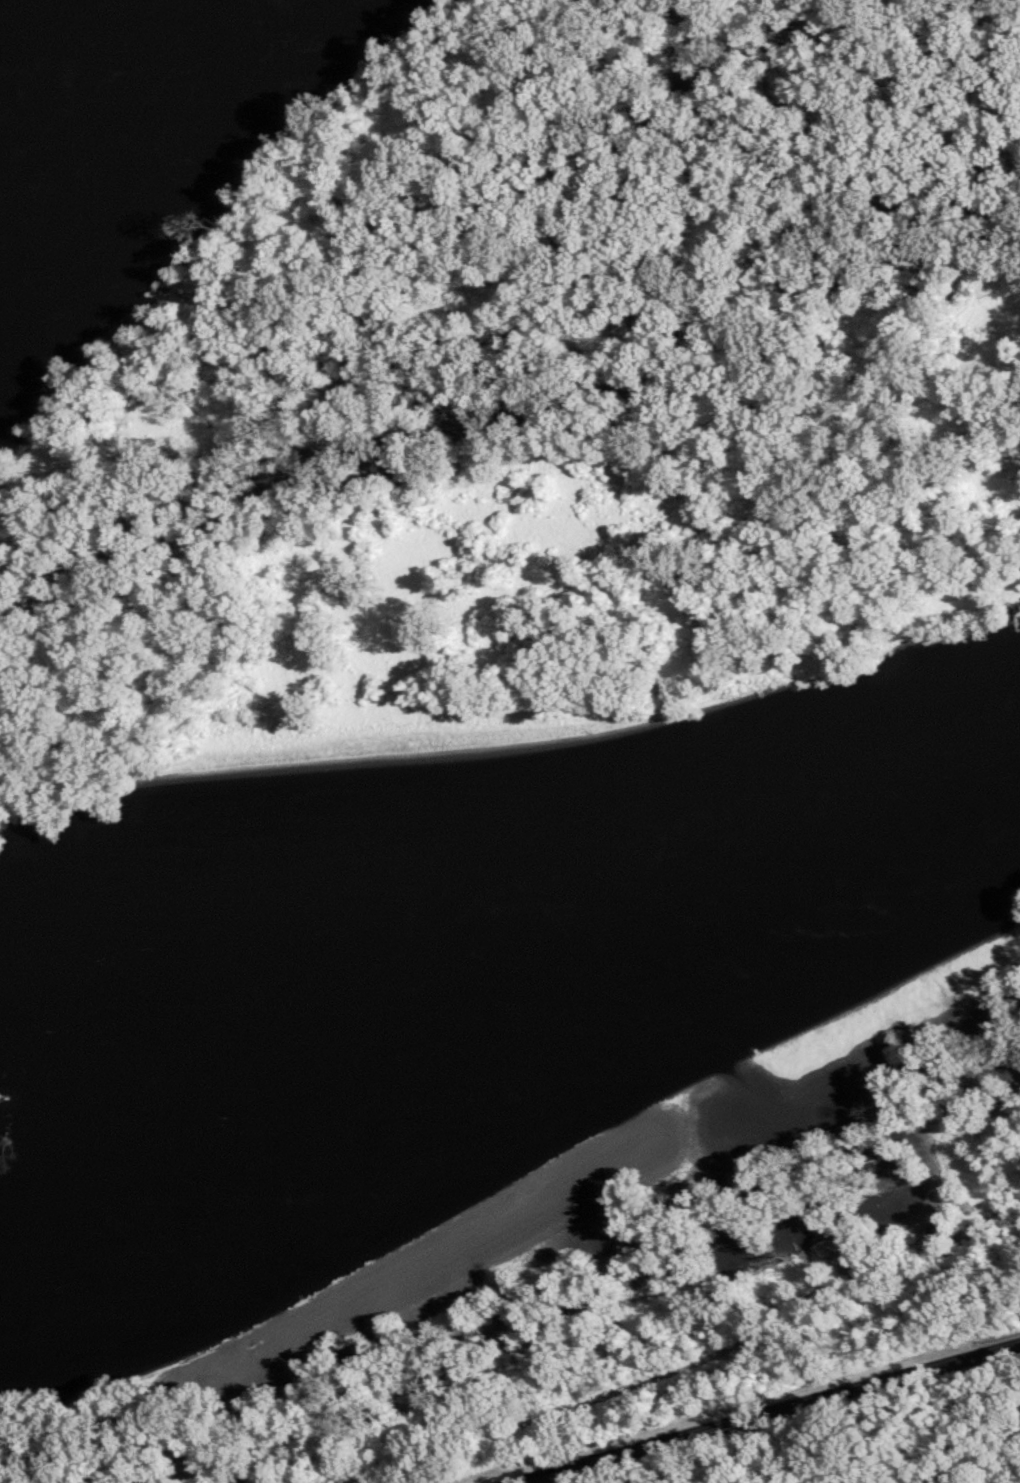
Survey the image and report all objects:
building: (616, 1158)
building: (599, 1226)
building: (832, 1248)
road: (687, 1362)
road: (768, 1412)

